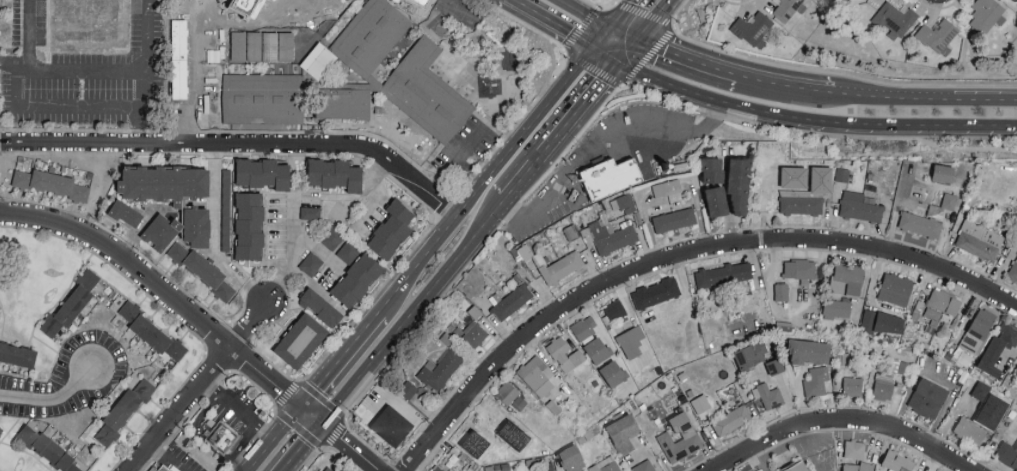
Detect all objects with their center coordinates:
road: (602, 7)
building: (786, 8)
building: (986, 14)
road: (643, 18)
building: (894, 18)
road: (593, 19)
road: (200, 21)
building: (754, 27)
road: (547, 30)
road: (664, 32)
road: (960, 33)
building: (939, 35)
road: (146, 36)
building: (376, 36)
traffic signals: (629, 37)
building: (246, 45)
building: (278, 45)
road: (26, 46)
road: (616, 48)
road: (553, 56)
building: (318, 59)
traffic signals: (603, 59)
road: (686, 59)
road: (107, 72)
parking lot: (200, 72)
road: (821, 72)
building: (374, 82)
road: (787, 86)
road: (541, 91)
building: (430, 95)
road: (922, 100)
building: (294, 103)
road: (54, 107)
road: (804, 121)
road: (140, 127)
road: (560, 131)
road: (816, 133)
road: (602, 138)
road: (240, 145)
road: (630, 150)
parking lot: (467, 153)
road: (457, 164)
building: (712, 169)
building: (943, 172)
building: (842, 173)
building: (260, 175)
building: (335, 176)
road: (486, 178)
building: (607, 179)
building: (767, 182)
building: (163, 183)
building: (739, 183)
building: (51, 186)
building: (667, 186)
building: (917, 190)
building: (717, 200)
building: (949, 200)
building: (801, 201)
building: (624, 202)
building: (860, 206)
building: (226, 211)
building: (310, 211)
building: (126, 214)
building: (674, 219)
building: (920, 224)
building: (249, 226)
building: (196, 227)
building: (390, 231)
building: (159, 232)
road: (214, 236)
building: (331, 238)
building: (979, 240)
building: (226, 242)
road: (294, 250)
building: (347, 253)
road: (674, 256)
building: (311, 264)
building: (562, 266)
building: (800, 267)
building: (1013, 270)
building: (201, 273)
road: (388, 277)
building: (722, 278)
building: (847, 278)
building: (355, 281)
building: (895, 288)
road: (160, 291)
building: (781, 291)
building: (656, 293)
building: (512, 301)
building: (944, 301)
building: (71, 307)
building: (837, 307)
building: (320, 309)
building: (614, 311)
road: (412, 313)
building: (932, 313)
building: (883, 321)
building: (583, 328)
building: (978, 330)
building: (151, 332)
building: (474, 334)
building: (629, 342)
building: (300, 343)
road: (612, 344)
building: (998, 347)
building: (809, 351)
building: (595, 352)
building: (751, 354)
building: (563, 355)
building: (16, 357)
road: (339, 358)
building: (775, 365)
building: (432, 371)
building: (611, 375)
building: (536, 376)
building: (816, 380)
road: (299, 382)
road: (199, 385)
building: (853, 385)
building: (883, 386)
building: (408, 389)
park: (653, 392)
building: (510, 397)
building: (928, 397)
road: (53, 398)
building: (767, 398)
building: (965, 399)
building: (699, 403)
traffic signals: (301, 406)
road: (237, 411)
building: (123, 412)
road: (312, 414)
building: (730, 421)
road: (841, 421)
road: (287, 422)
traffic signals: (323, 424)
building: (382, 424)
building: (491, 428)
building: (1, 429)
building: (969, 431)
building: (621, 433)
building: (678, 438)
road: (254, 441)
building: (226, 446)
road: (303, 447)
road: (351, 447)
road: (812, 448)
building: (855, 448)
building: (43, 452)
building: (1007, 453)
road: (261, 455)
road: (309, 457)
road: (761, 458)
road: (164, 459)
building: (570, 459)
building: (898, 461)
building: (604, 465)
building: (643, 466)
building: (797, 466)
building: (856, 466)
building: (320, 469)
building: (328, 469)
building: (436, 469)
building: (166, 470)
building: (755, 470)

